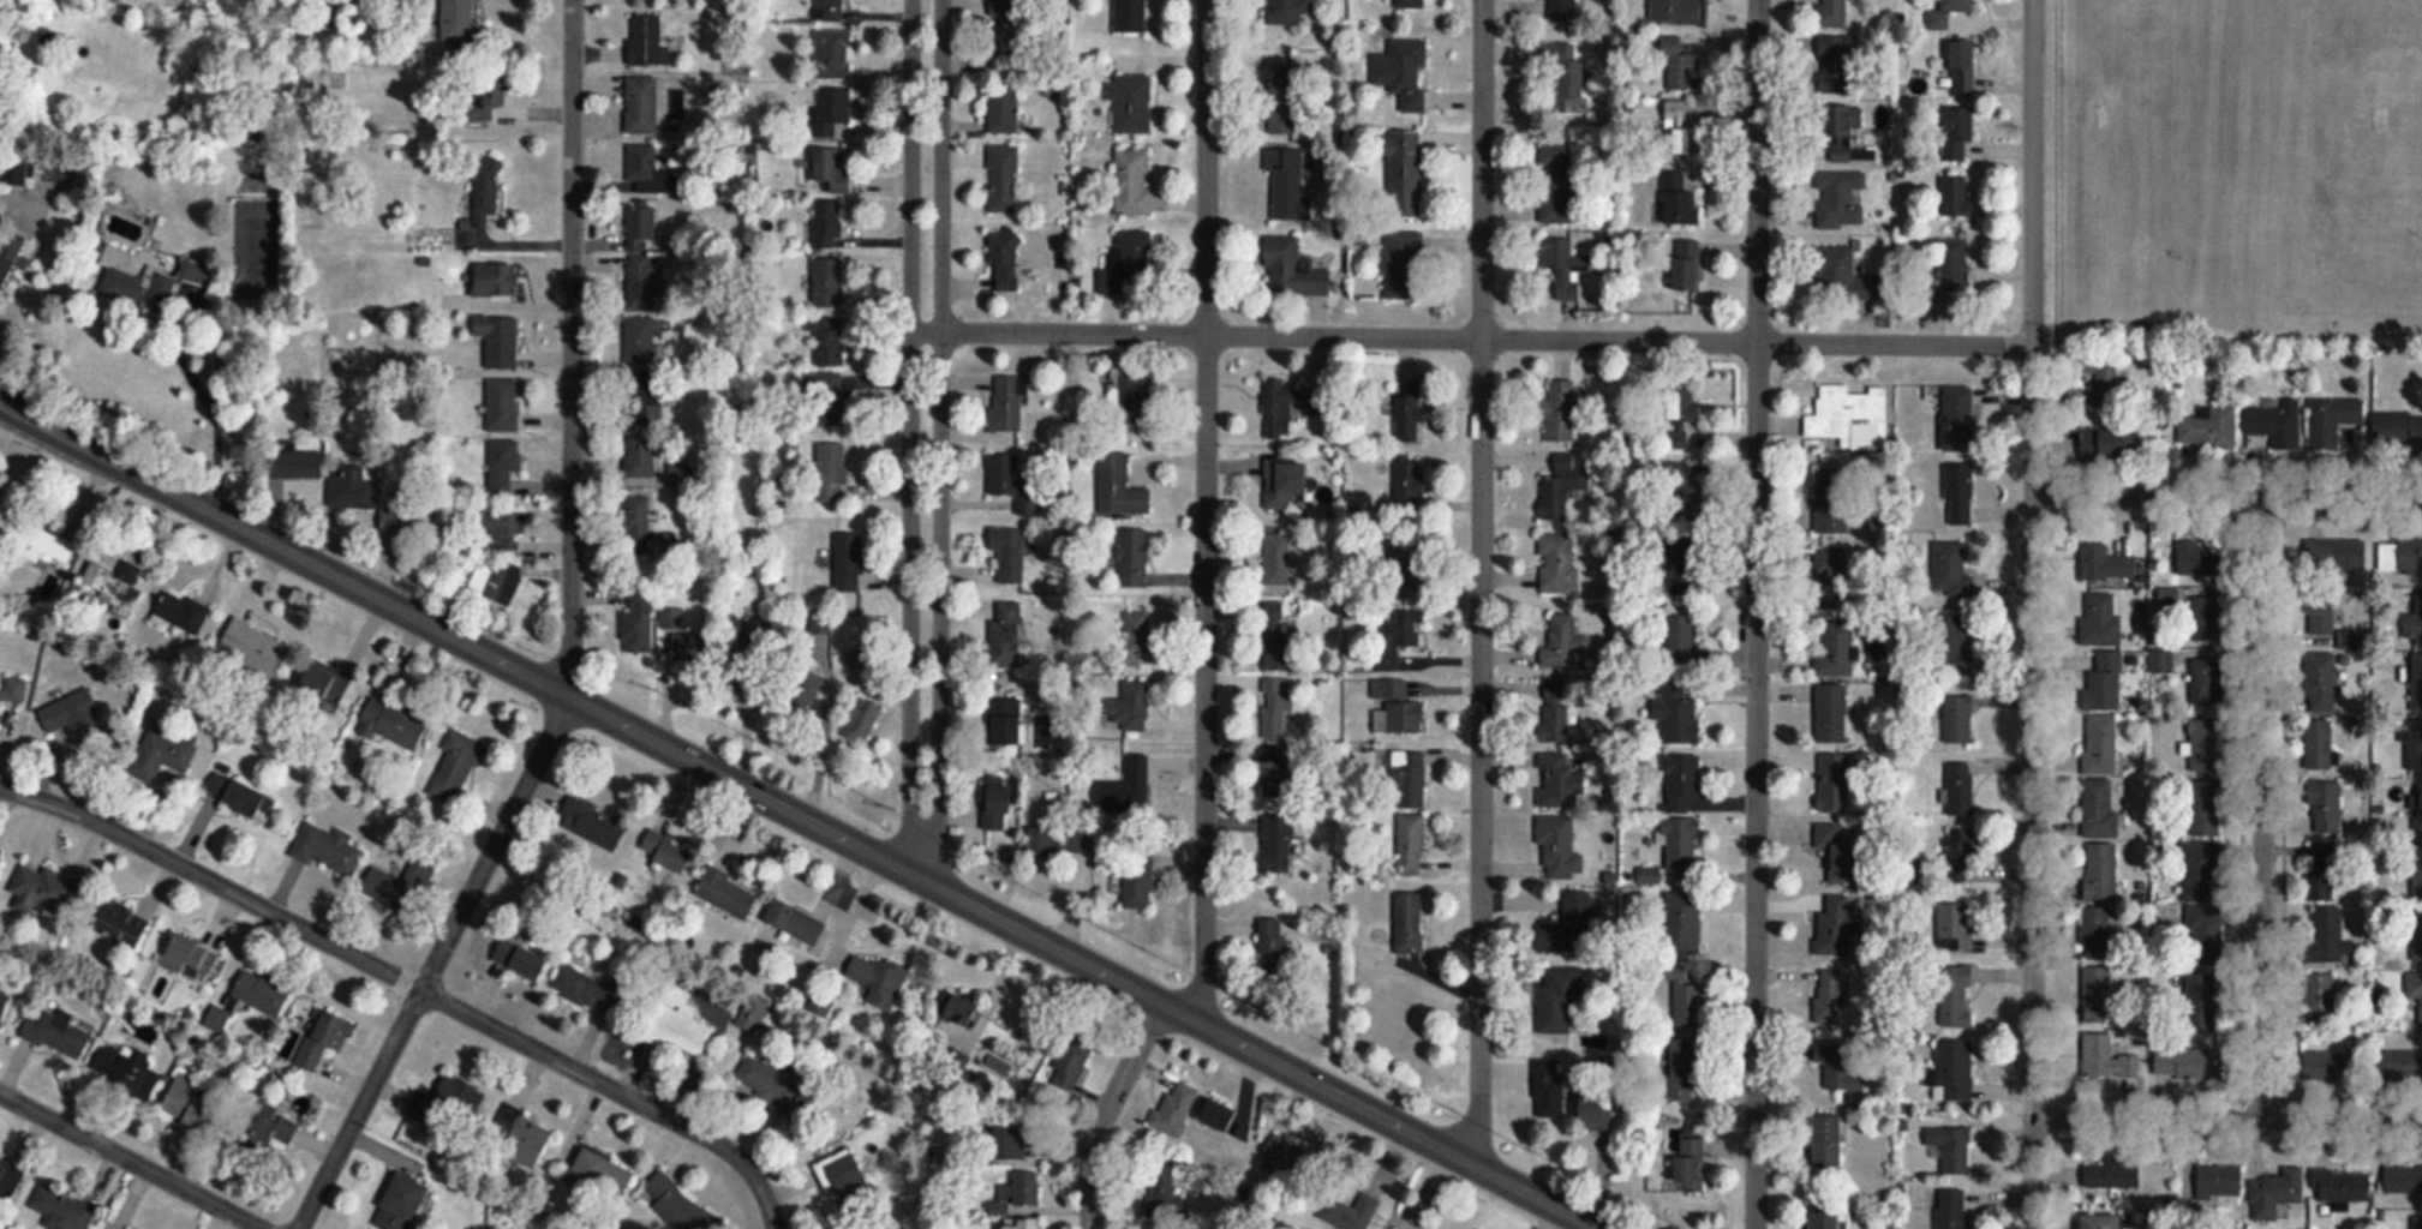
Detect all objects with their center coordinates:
building: (1410, 4)
building: (1011, 5)
building: (831, 12)
building: (1285, 12)
building: (1560, 12)
building: (1676, 12)
building: (1836, 13)
building: (1948, 13)
building: (1130, 17)
building: (461, 23)
building: (648, 44)
building: (1010, 48)
building: (833, 56)
building: (1837, 65)
building: (1676, 67)
building: (1961, 68)
building: (1403, 72)
building: (1567, 78)
building: (486, 90)
building: (1284, 96)
building: (1131, 104)
building: (642, 107)
building: (1004, 110)
building: (832, 114)
building: (1681, 128)
building: (1958, 132)
building: (1843, 138)
building: (646, 172)
building: (833, 172)
building: (16, 173)
building: (1406, 175)
building: (59, 179)
building: (1003, 179)
building: (1132, 182)
building: (1556, 184)
building: (1290, 186)
building: (486, 193)
building: (1957, 197)
building: (1840, 199)
building: (1680, 200)
building: (829, 227)
building: (642, 229)
building: (10, 258)
building: (1004, 262)
building: (1401, 265)
building: (1566, 265)
building: (1954, 265)
building: (1128, 266)
building: (1686, 266)
building: (1292, 269)
building: (1835, 271)
building: (145, 277)
building: (496, 282)
building: (829, 284)
building: (642, 286)
road: (1479, 337)
building: (500, 343)
building: (641, 343)
building: (831, 347)
building: (2103, 380)
building: (1130, 395)
building: (645, 401)
building: (827, 402)
building: (1007, 404)
building: (1684, 406)
road: (223, 408)
building: (503, 408)
building: (1281, 409)
building: (1560, 413)
building: (1404, 414)
building: (1850, 418)
building: (1957, 418)
building: (2332, 420)
building: (2276, 424)
building: (2397, 427)
building: (2208, 428)
road: (926, 440)
building: (2111, 445)
building: (647, 460)
building: (297, 466)
building: (504, 468)
building: (833, 476)
building: (680, 479)
building: (1409, 481)
building: (1010, 484)
building: (1282, 484)
building: (1119, 487)
building: (353, 491)
building: (1562, 491)
building: (1958, 494)
road: (2227, 497)
building: (1831, 502)
building: (2, 512)
road: (1207, 514)
building: (399, 524)
building: (639, 527)
building: (506, 536)
building: (42, 546)
building: (1009, 553)
building: (2386, 557)
building: (1278, 560)
building: (2200, 560)
building: (1131, 563)
building: (1556, 563)
building: (1687, 563)
building: (2105, 564)
building: (850, 565)
building: (1950, 570)
building: (1830, 577)
building: (113, 584)
building: (497, 584)
road: (1481, 584)
road: (2033, 613)
road: (1756, 614)
building: (184, 616)
building: (2319, 616)
building: (2207, 618)
building: (2099, 621)
building: (640, 625)
building: (821, 628)
building: (1006, 634)
building: (1276, 635)
building: (1137, 637)
building: (1399, 637)
building: (1682, 641)
building: (1563, 643)
building: (688, 645)
building: (1962, 645)
road: (570, 647)
building: (256, 651)
building: (1834, 651)
building: (2163, 661)
building: (856, 663)
building: (2205, 676)
building: (746, 677)
building: (2416, 682)
building: (2104, 683)
building: (2321, 683)
building: (325, 688)
building: (14, 693)
building: (807, 693)
building: (1129, 705)
building: (1278, 708)
building: (1397, 708)
building: (1831, 713)
building: (74, 719)
building: (1678, 719)
building: (1957, 719)
building: (1555, 720)
building: (1005, 721)
building: (863, 725)
building: (394, 726)
building: (2199, 743)
building: (2101, 744)
building: (2411, 745)
building: (2321, 747)
building: (163, 754)
building: (458, 768)
building: (1278, 779)
building: (1407, 779)
building: (1835, 780)
building: (1684, 783)
building: (1128, 786)
building: (1560, 787)
building: (1961, 789)
building: (237, 796)
building: (998, 803)
building: (2203, 807)
building: (2325, 807)
building: (2100, 808)
road: (2262, 808)
building: (2415, 814)
road: (797, 816)
building: (593, 826)
building: (1043, 841)
building: (1278, 844)
building: (1411, 844)
building: (1560, 845)
building: (1679, 846)
building: (329, 850)
building: (1835, 851)
building: (668, 852)
building: (0, 853)
building: (1962, 856)
building: (2100, 871)
building: (2326, 871)
building: (2414, 871)
building: (1138, 880)
building: (402, 886)
building: (43, 893)
building: (725, 893)
building: (1409, 922)
building: (796, 923)
building: (121, 924)
building: (1840, 924)
building: (1569, 925)
building: (1955, 927)
building: (2201, 927)
building: (1682, 928)
building: (2097, 933)
building: (2325, 935)
building: (2416, 935)
building: (1273, 946)
building: (190, 958)
building: (521, 961)
building: (880, 982)
road: (408, 984)
building: (2415, 989)
building: (587, 991)
building: (262, 995)
building: (2097, 995)
building: (1956, 996)
building: (1830, 997)
building: (2321, 999)
building: (1555, 1000)
building: (6, 1001)
building: (1688, 1006)
building: (963, 1012)
building: (1397, 1014)
building: (678, 1025)
building: (58, 1036)
building: (324, 1041)
building: (2098, 1059)
building: (2189, 1063)
building: (2332, 1066)
building: (1837, 1067)
building: (2387, 1067)
building: (1068, 1068)
building: (1687, 1071)
building: (1954, 1071)
building: (126, 1075)
building: (779, 1089)
building: (1549, 1089)
building: (449, 1104)
building: (195, 1108)
building: (1176, 1108)
road: (1106, 1111)
building: (1596, 1113)
building: (1218, 1115)
road: (2227, 1117)
building: (267, 1129)
building: (1009, 1138)
building: (519, 1140)
building: (1828, 1143)
building: (1951, 1149)
building: (1282, 1152)
road: (128, 1161)
building: (2106, 1173)
building: (1690, 1174)
building: (602, 1175)
building: (844, 1177)
building: (2219, 1181)
building: (2403, 1181)
building: (8, 1183)
building: (1025, 1188)
building: (2342, 1189)
building: (2276, 1194)
building: (1162, 1197)
building: (678, 1204)
building: (402, 1205)
building: (1951, 1209)
building: (62, 1211)
building: (1341, 1212)
building: (1823, 1219)
building: (2095, 1222)
building: (1019, 1224)

